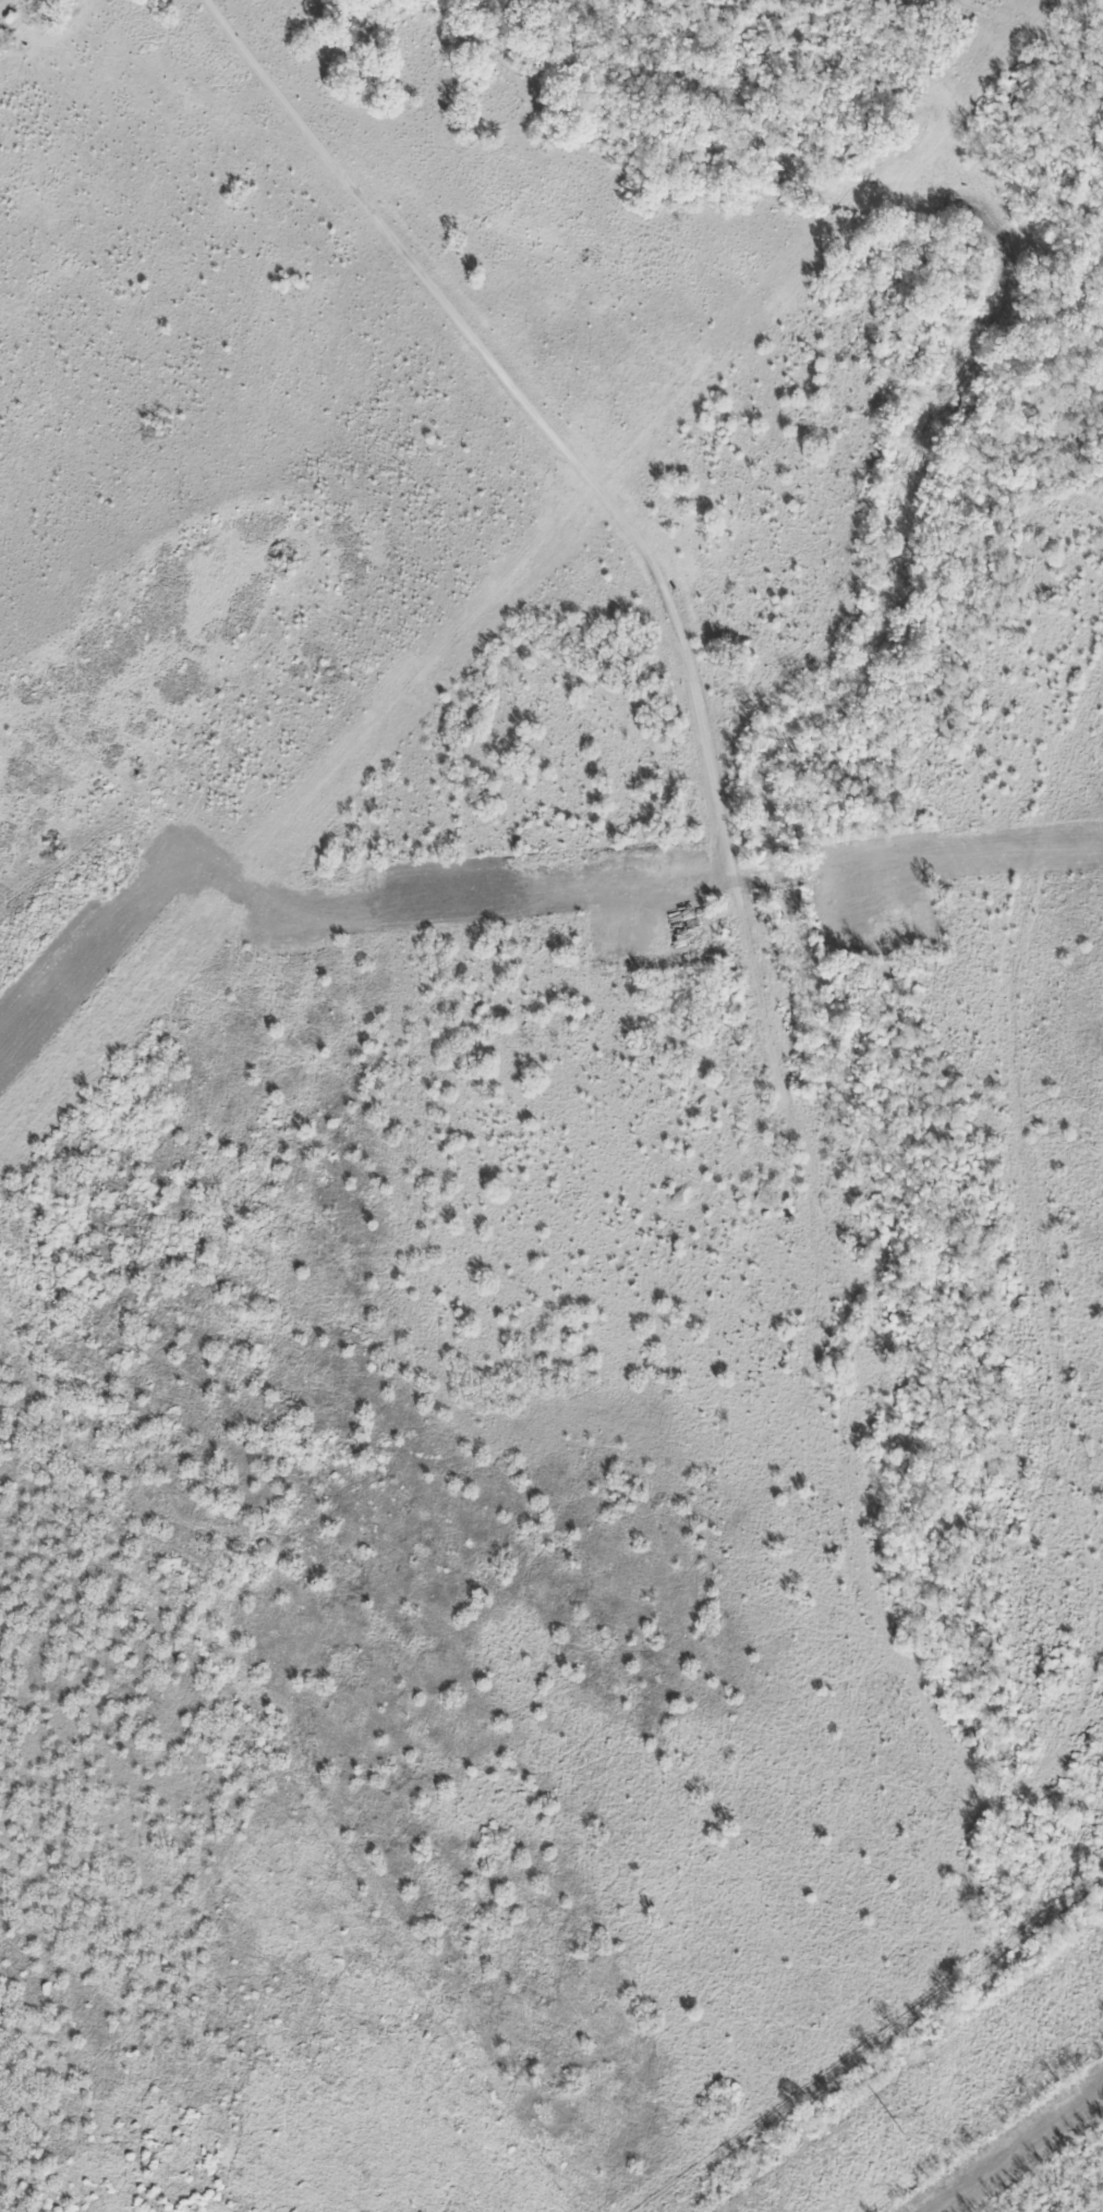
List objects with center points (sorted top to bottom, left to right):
road: (1001, 66)
power tower: (901, 2132)

